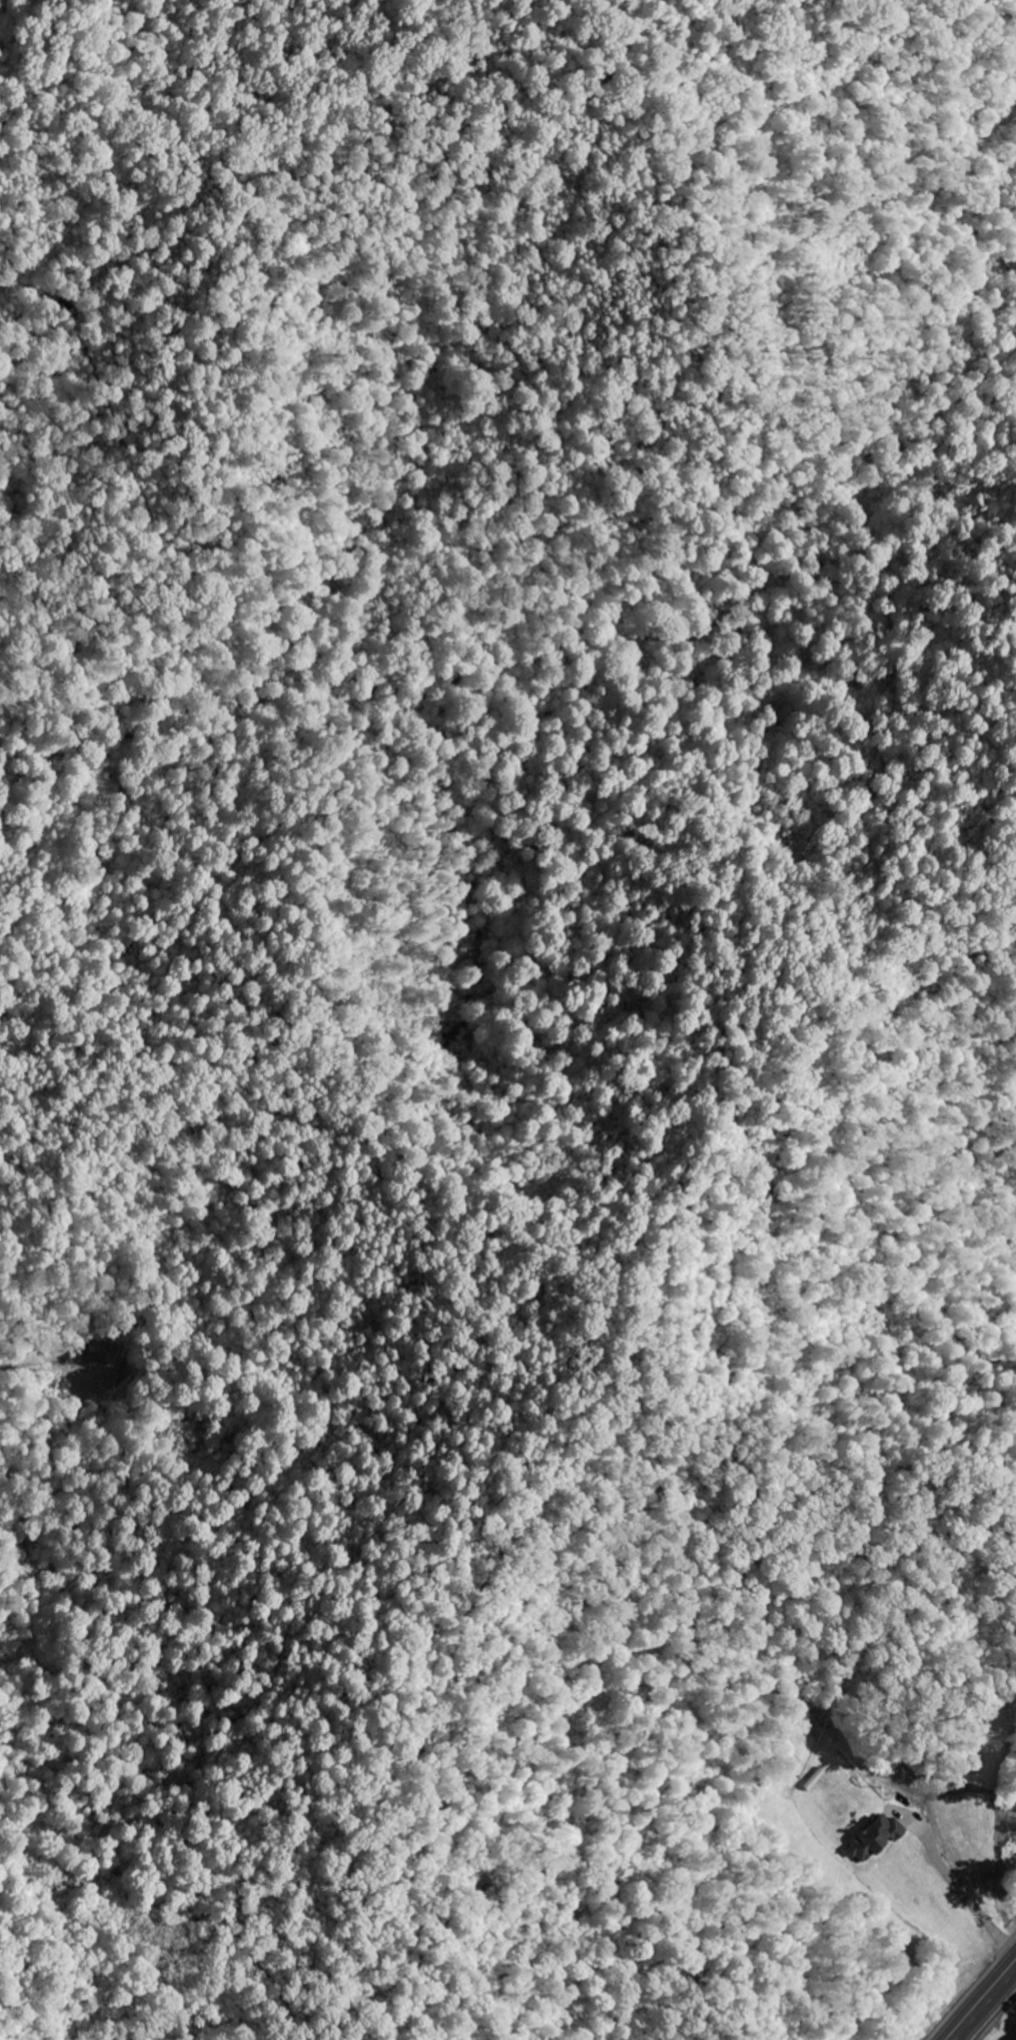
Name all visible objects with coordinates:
road: (684, 1037)
building: (878, 1840)
road: (988, 2005)

